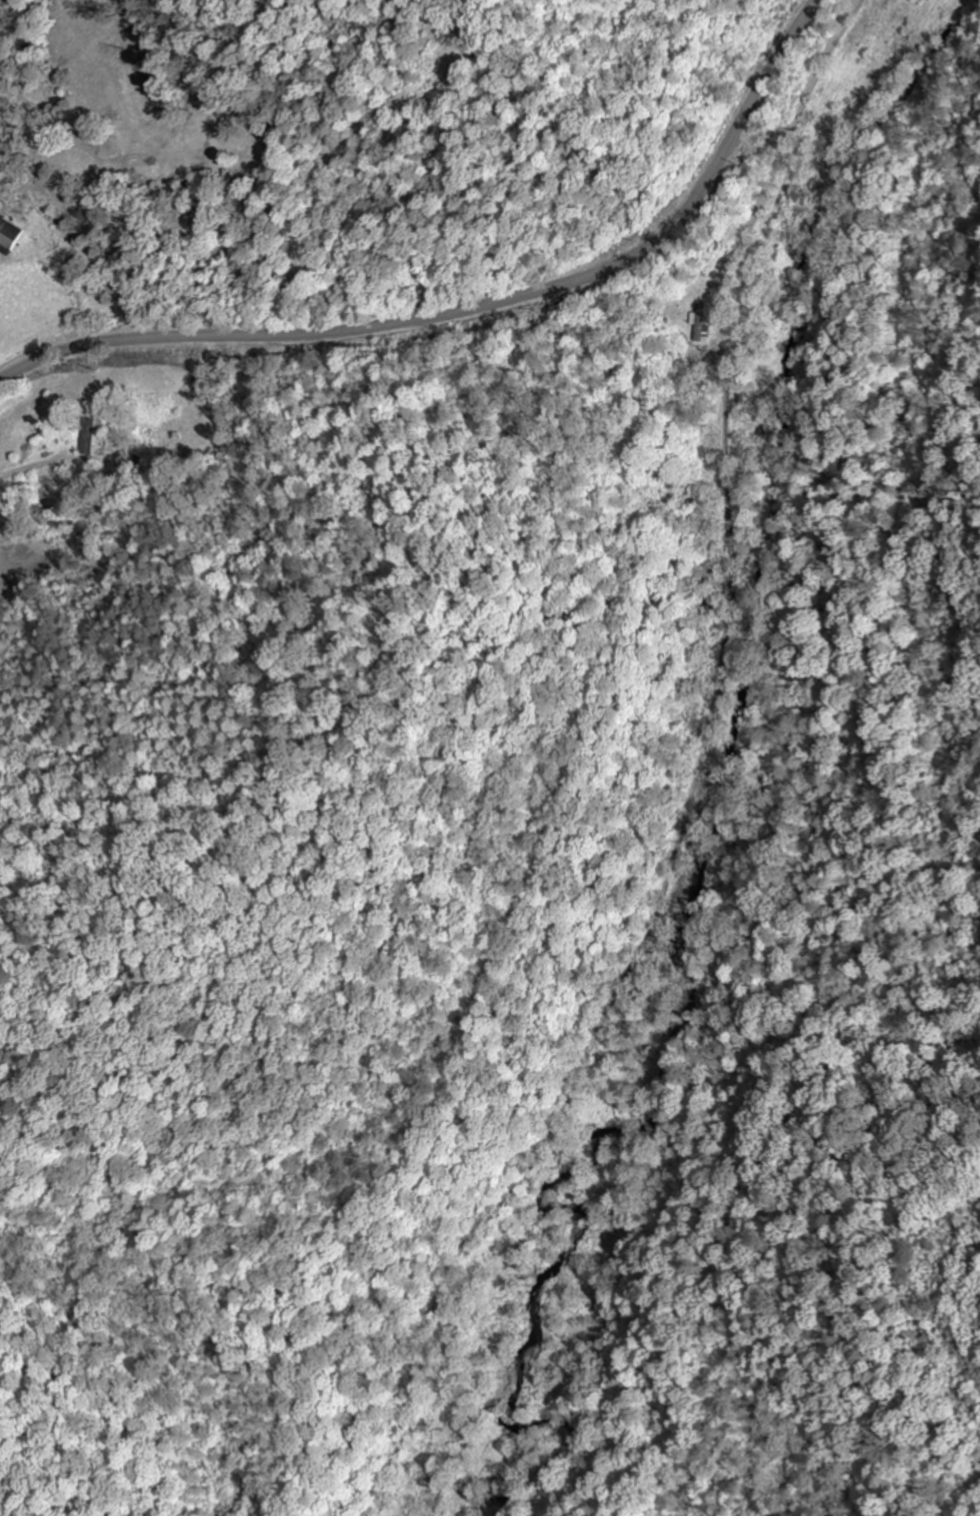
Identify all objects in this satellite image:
building: (11, 237)
road: (475, 312)
building: (94, 439)

